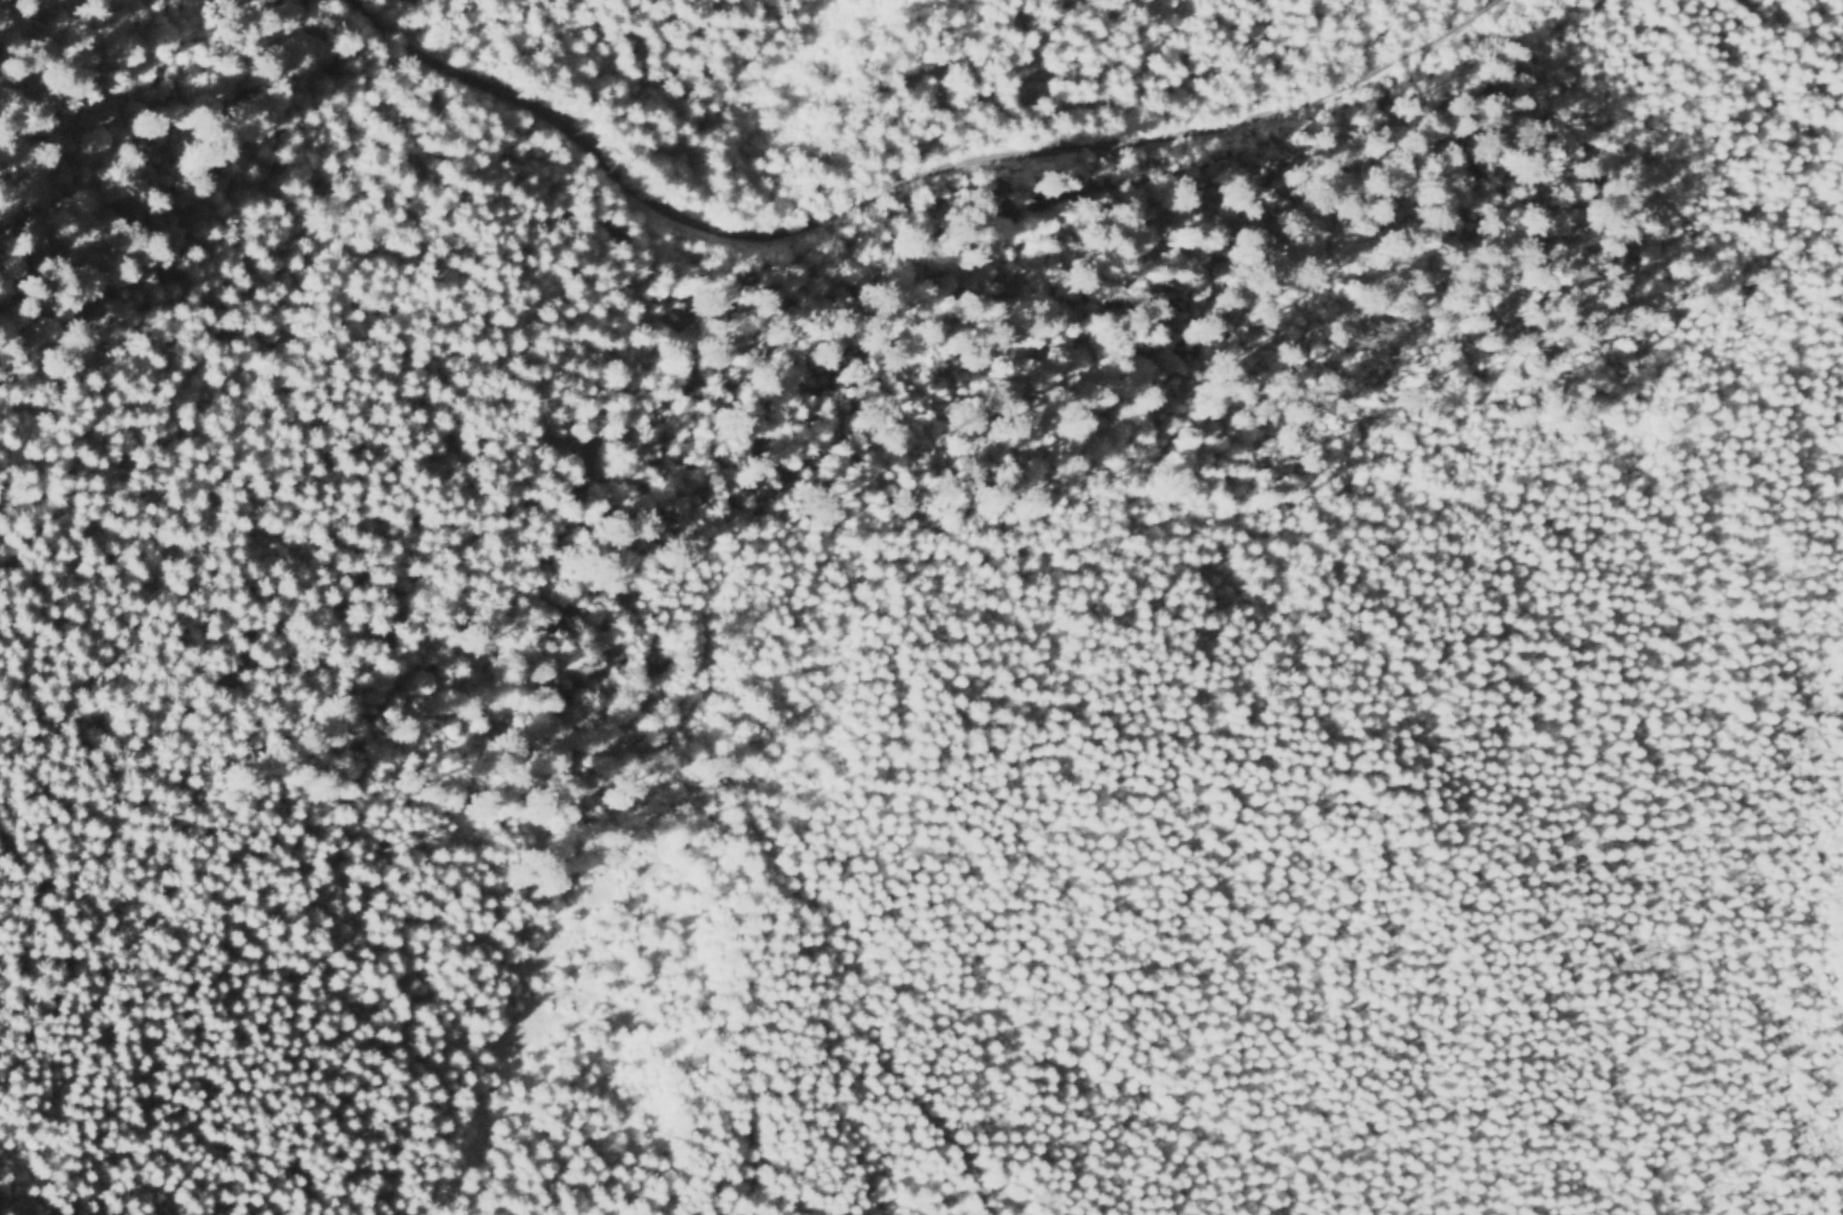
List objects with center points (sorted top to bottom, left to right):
road: (902, 192)

